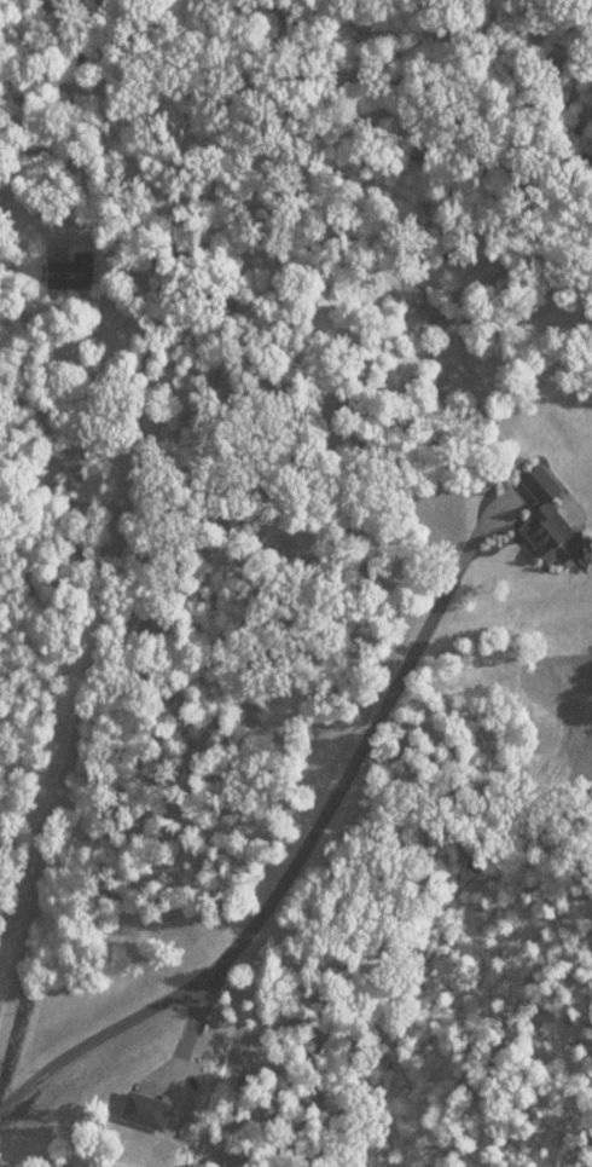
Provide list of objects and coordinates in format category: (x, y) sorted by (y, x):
road: (89, 610)
road: (304, 850)

